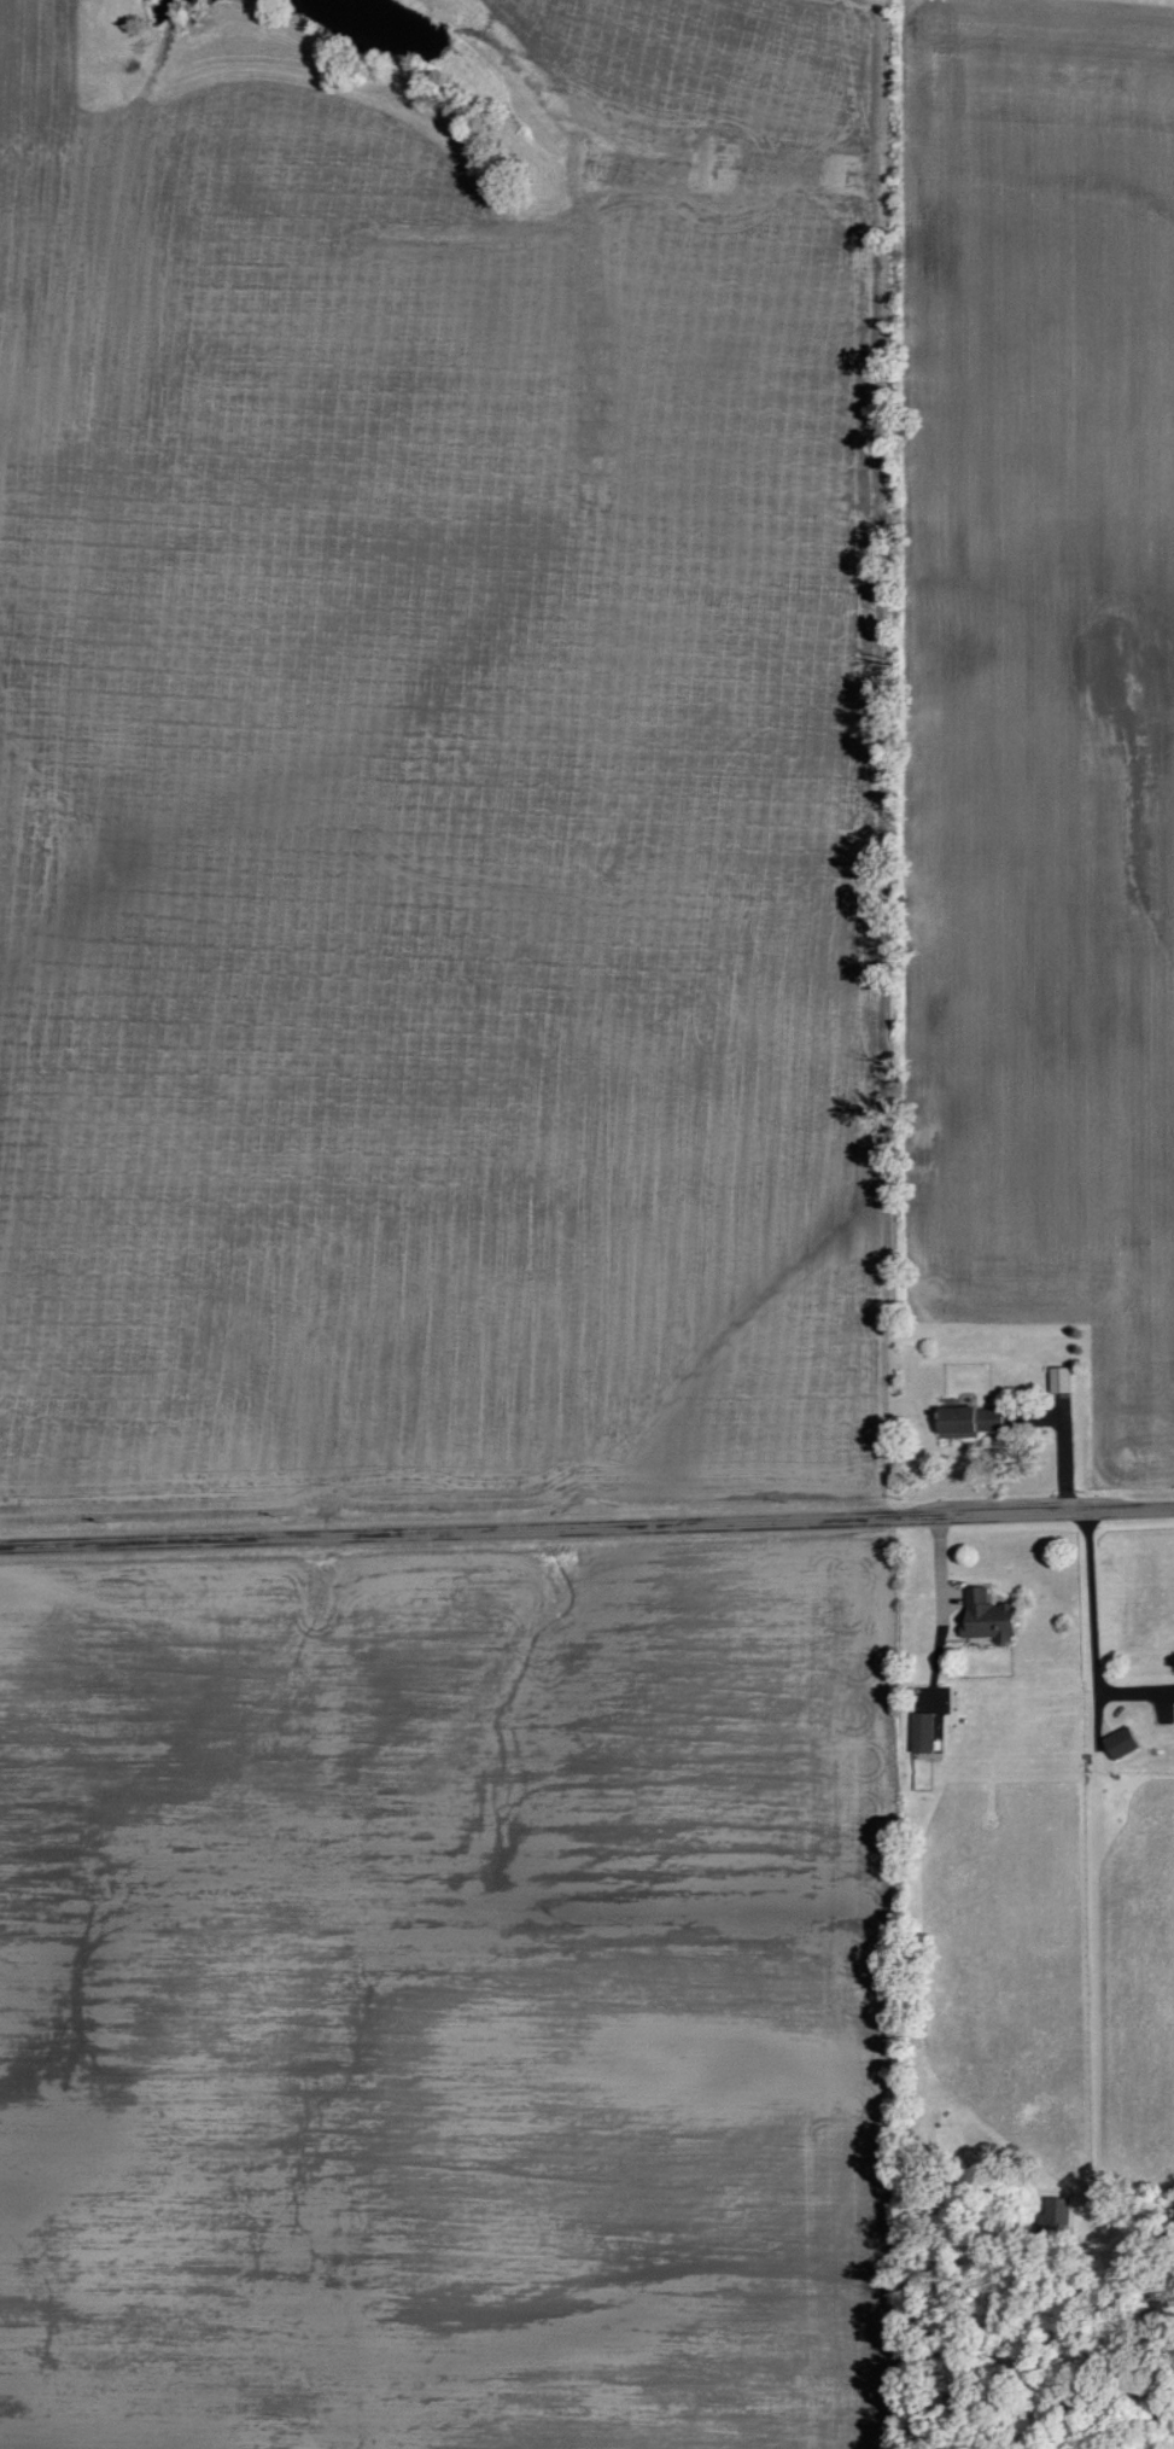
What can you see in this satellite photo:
building: (1063, 1380)
building: (974, 1419)
road: (1064, 1448)
road: (586, 1528)
road: (941, 1607)
building: (991, 1616)
road: (1093, 1639)
building: (985, 1640)
building: (924, 1732)
building: (1123, 1743)

